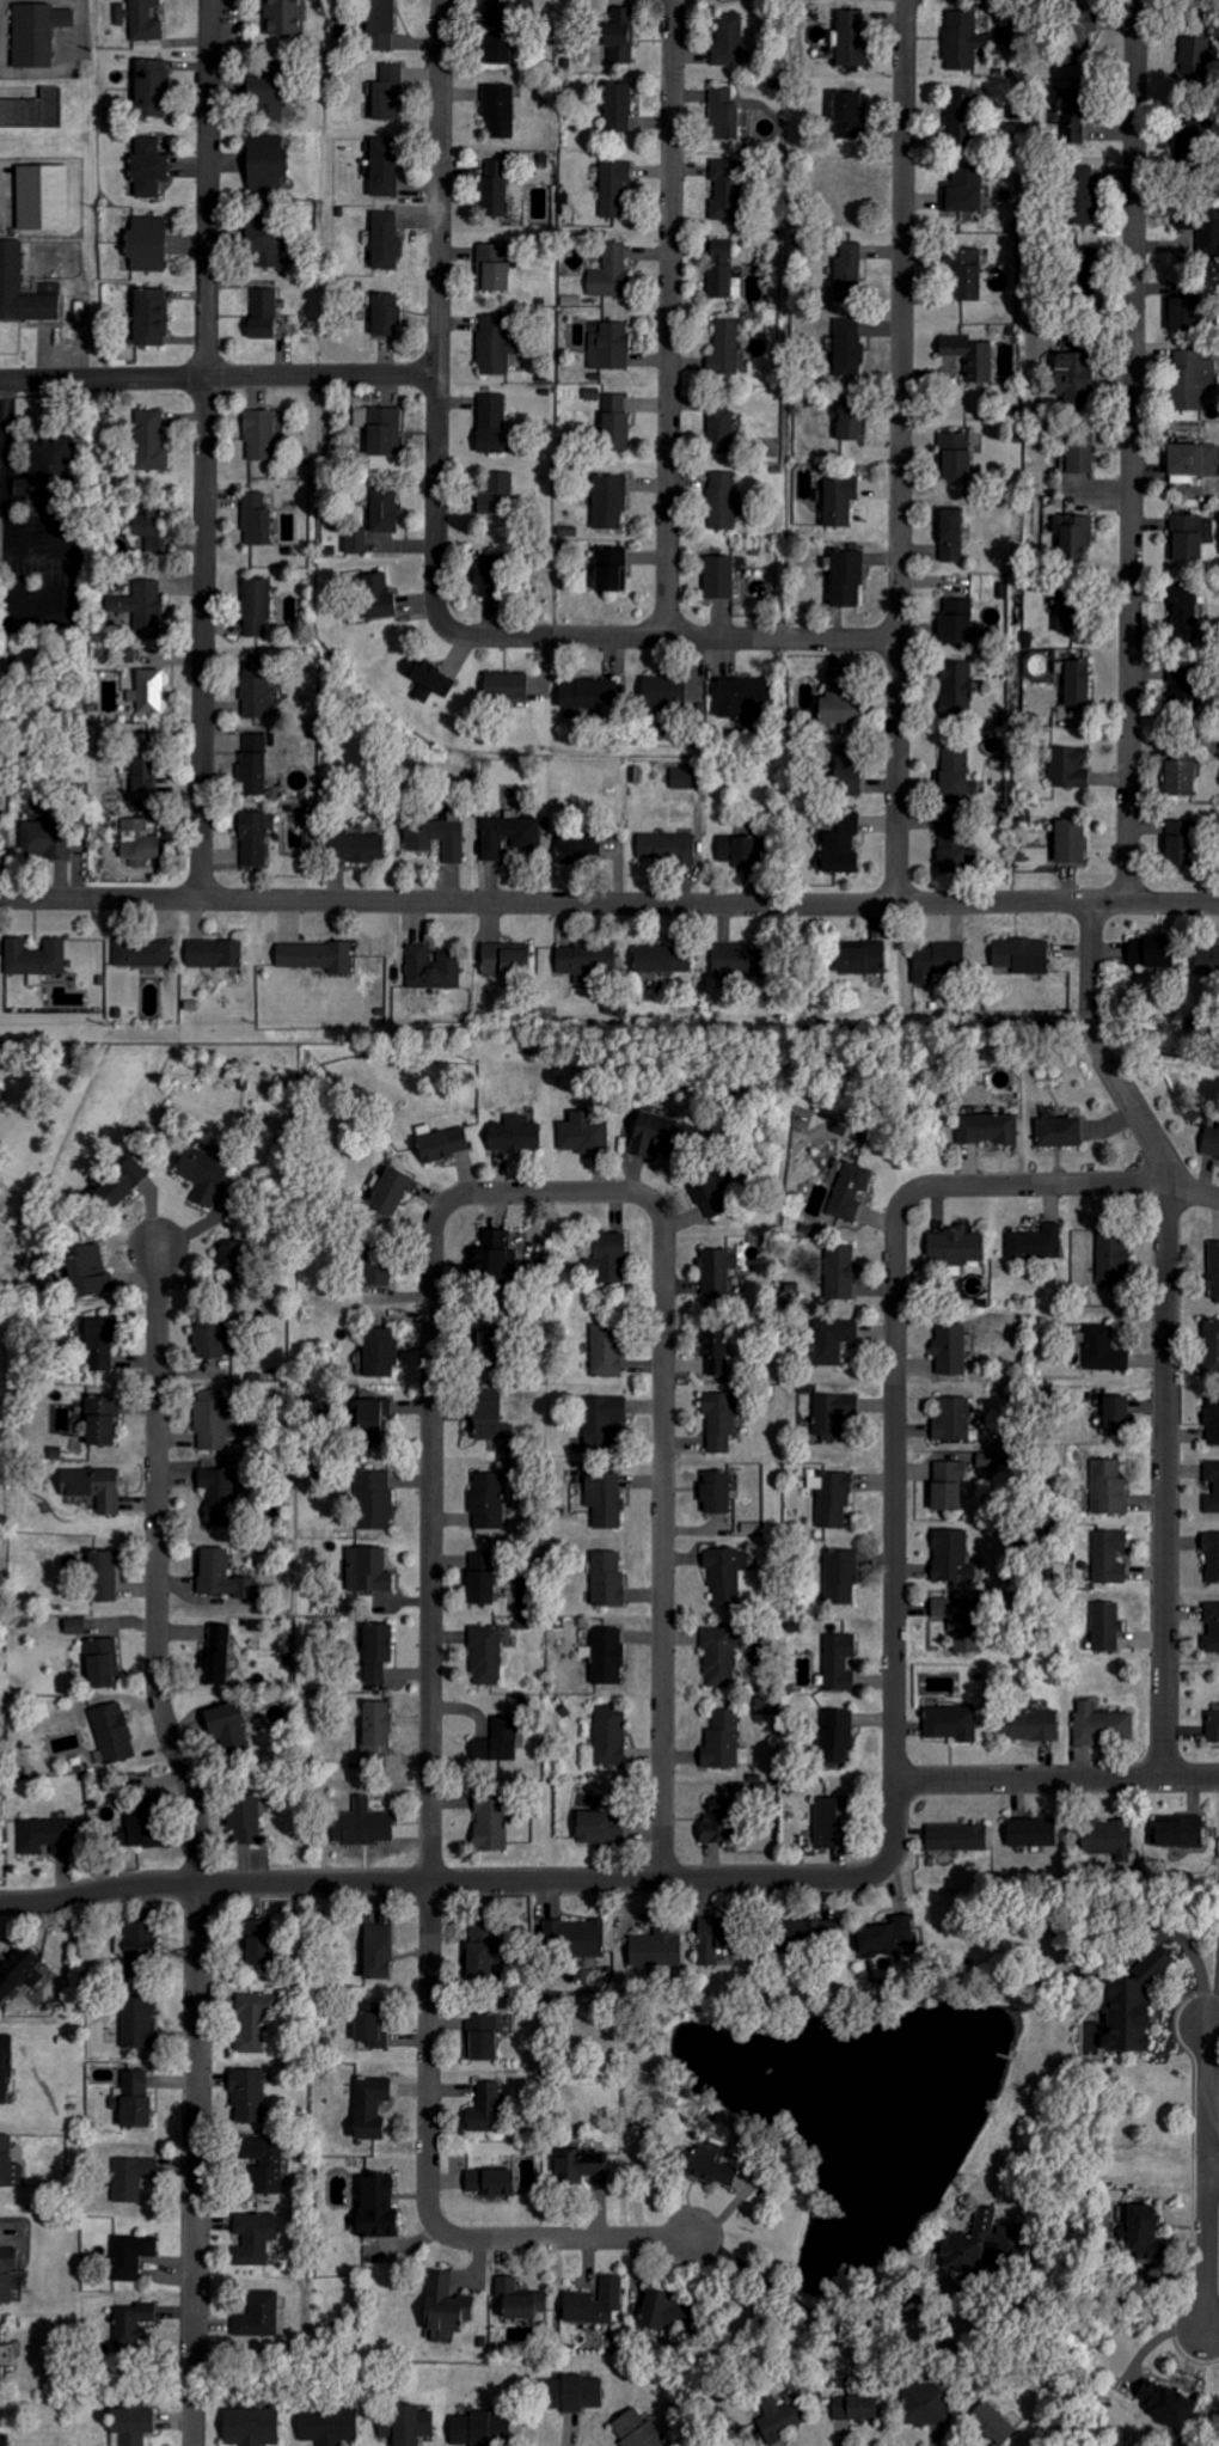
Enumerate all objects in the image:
building: (124, 14)
building: (521, 14)
building: (289, 17)
building: (151, 22)
building: (388, 24)
building: (45, 33)
building: (618, 33)
building: (850, 37)
building: (728, 39)
building: (962, 39)
building: (502, 51)
building: (1194, 55)
building: (159, 88)
building: (394, 93)
building: (280, 96)
building: (617, 106)
building: (498, 109)
building: (36, 111)
building: (723, 112)
building: (844, 114)
building: (960, 116)
building: (1067, 120)
building: (277, 161)
road: (209, 163)
building: (158, 167)
building: (387, 167)
building: (614, 188)
building: (723, 188)
building: (494, 189)
building: (964, 190)
building: (1078, 194)
building: (51, 197)
building: (1207, 234)
building: (384, 239)
building: (277, 244)
building: (155, 245)
building: (1077, 257)
building: (849, 264)
building: (492, 267)
building: (721, 268)
building: (964, 271)
building: (611, 273)
building: (54, 288)
building: (25, 289)
road: (436, 299)
building: (1178, 312)
building: (267, 313)
building: (384, 313)
building: (158, 318)
road: (673, 318)
building: (495, 344)
building: (609, 346)
building: (725, 347)
building: (847, 347)
building: (972, 360)
road: (218, 378)
building: (1067, 379)
building: (1192, 379)
building: (847, 417)
building: (612, 418)
building: (490, 423)
building: (721, 424)
building: (379, 427)
building: (259, 435)
building: (155, 441)
building: (1078, 450)
road: (1129, 450)
road: (2, 451)
road: (899, 451)
building: (955, 455)
building: (1192, 459)
building: (29, 487)
building: (496, 495)
building: (839, 499)
building: (609, 500)
building: (722, 500)
building: (382, 509)
building: (256, 519)
building: (149, 528)
building: (950, 534)
building: (1072, 534)
building: (1186, 537)
building: (356, 540)
building: (609, 568)
building: (485, 575)
building: (718, 576)
building: (845, 576)
building: (374, 595)
building: (143, 607)
building: (256, 607)
road: (204, 612)
building: (1183, 612)
building: (1066, 619)
building: (954, 622)
road: (656, 637)
building: (428, 679)
building: (1076, 683)
building: (504, 685)
building: (256, 687)
building: (956, 690)
building: (661, 691)
building: (148, 692)
building: (586, 693)
building: (740, 696)
building: (835, 707)
building: (145, 735)
building: (252, 765)
building: (1070, 768)
building: (146, 773)
building: (954, 773)
building: (1178, 777)
building: (684, 778)
building: (844, 779)
building: (508, 836)
building: (255, 837)
building: (439, 837)
building: (45, 839)
building: (137, 842)
building: (1068, 842)
building: (1177, 842)
building: (839, 843)
building: (355, 846)
building: (666, 848)
building: (577, 849)
building: (736, 850)
building: (951, 856)
road: (609, 903)
building: (1147, 952)
building: (142, 953)
building: (213, 953)
building: (1019, 955)
building: (36, 956)
building: (316, 956)
building: (661, 959)
building: (859, 959)
building: (938, 959)
building: (1207, 959)
building: (731, 960)
building: (503, 961)
building: (434, 967)
building: (2, 1094)
building: (990, 1129)
building: (1058, 1132)
building: (583, 1133)
building: (515, 1135)
building: (649, 1135)
building: (1211, 1142)
building: (443, 1144)
building: (202, 1175)
building: (131, 1184)
road: (1068, 1184)
building: (388, 1192)
building: (850, 1192)
road: (544, 1194)
building: (706, 1197)
building: (1035, 1243)
building: (955, 1246)
building: (229, 1254)
building: (491, 1255)
building: (608, 1256)
building: (1113, 1259)
building: (98, 1271)
building: (717, 1272)
building: (840, 1272)
building: (1214, 1272)
building: (374, 1274)
road: (1169, 1327)
building: (220, 1335)
building: (483, 1339)
building: (832, 1340)
building: (110, 1341)
building: (607, 1345)
building: (713, 1347)
building: (1211, 1347)
building: (950, 1350)
building: (1104, 1350)
building: (379, 1352)
building: (832, 1412)
building: (605, 1415)
building: (1114, 1415)
building: (1212, 1418)
building: (110, 1419)
building: (218, 1419)
building: (373, 1419)
building: (951, 1420)
building: (718, 1421)
building: (490, 1423)
road: (898, 1481)
building: (947, 1487)
building: (1108, 1487)
building: (1217, 1487)
building: (103, 1488)
building: (713, 1493)
building: (227, 1494)
building: (832, 1498)
building: (488, 1499)
building: (604, 1499)
building: (374, 1500)
building: (753, 1528)
road: (666, 1529)
building: (952, 1555)
building: (1211, 1555)
building: (1109, 1557)
road: (159, 1567)
building: (368, 1571)
building: (111, 1574)
building: (227, 1574)
building: (725, 1574)
building: (841, 1576)
building: (607, 1578)
building: (478, 1580)
building: (957, 1623)
building: (80, 1627)
building: (1104, 1627)
building: (1212, 1627)
building: (226, 1653)
building: (374, 1653)
building: (486, 1656)
building: (607, 1656)
building: (719, 1657)
building: (110, 1662)
building: (839, 1663)
road: (430, 1694)
building: (235, 1723)
building: (950, 1723)
building: (1101, 1724)
building: (1029, 1725)
building: (1213, 1725)
building: (120, 1733)
building: (375, 1735)
building: (609, 1736)
building: (837, 1736)
building: (721, 1741)
building: (495, 1743)
road: (1056, 1778)
building: (256, 1820)
building: (488, 1822)
building: (827, 1822)
building: (370, 1824)
building: (715, 1824)
building: (595, 1828)
building: (153, 1830)
building: (1033, 1834)
building: (51, 1836)
building: (1180, 1836)
building: (957, 1837)
building: (1105, 1837)
road: (488, 1882)
building: (803, 1934)
building: (886, 1936)
building: (576, 1939)
building: (707, 1941)
building: (271, 1945)
building: (655, 1949)
building: (479, 1950)
building: (145, 1951)
building: (387, 1952)
building: (23, 1973)
building: (1128, 2002)
building: (145, 2022)
building: (261, 2022)
building: (379, 2024)
building: (480, 2035)
building: (10, 2069)
building: (255, 2093)
building: (143, 2100)
building: (369, 2105)
building: (485, 2109)
building: (12, 2164)
building: (580, 2164)
building: (280, 2166)
building: (703, 2166)
road: (195, 2167)
road: (1209, 2171)
road: (1214, 2171)
building: (140, 2178)
building: (490, 2182)
building: (374, 2203)
building: (1145, 2234)
building: (256, 2239)
road: (562, 2239)
building: (975, 2240)
building: (137, 2256)
building: (12, 2276)
building: (516, 2300)
building: (593, 2303)
building: (446, 2304)
building: (653, 2309)
road: (808, 2310)
building: (259, 2316)
building: (139, 2320)
building: (5, 2361)
building: (571, 2392)
building: (1165, 2402)
building: (927, 2403)
building: (853, 2408)
building: (778, 2419)
building: (131, 2420)
building: (992, 2421)
building: (408, 2424)
building: (326, 2426)
building: (252, 2427)
building: (636, 2429)
building: (6, 2434)

